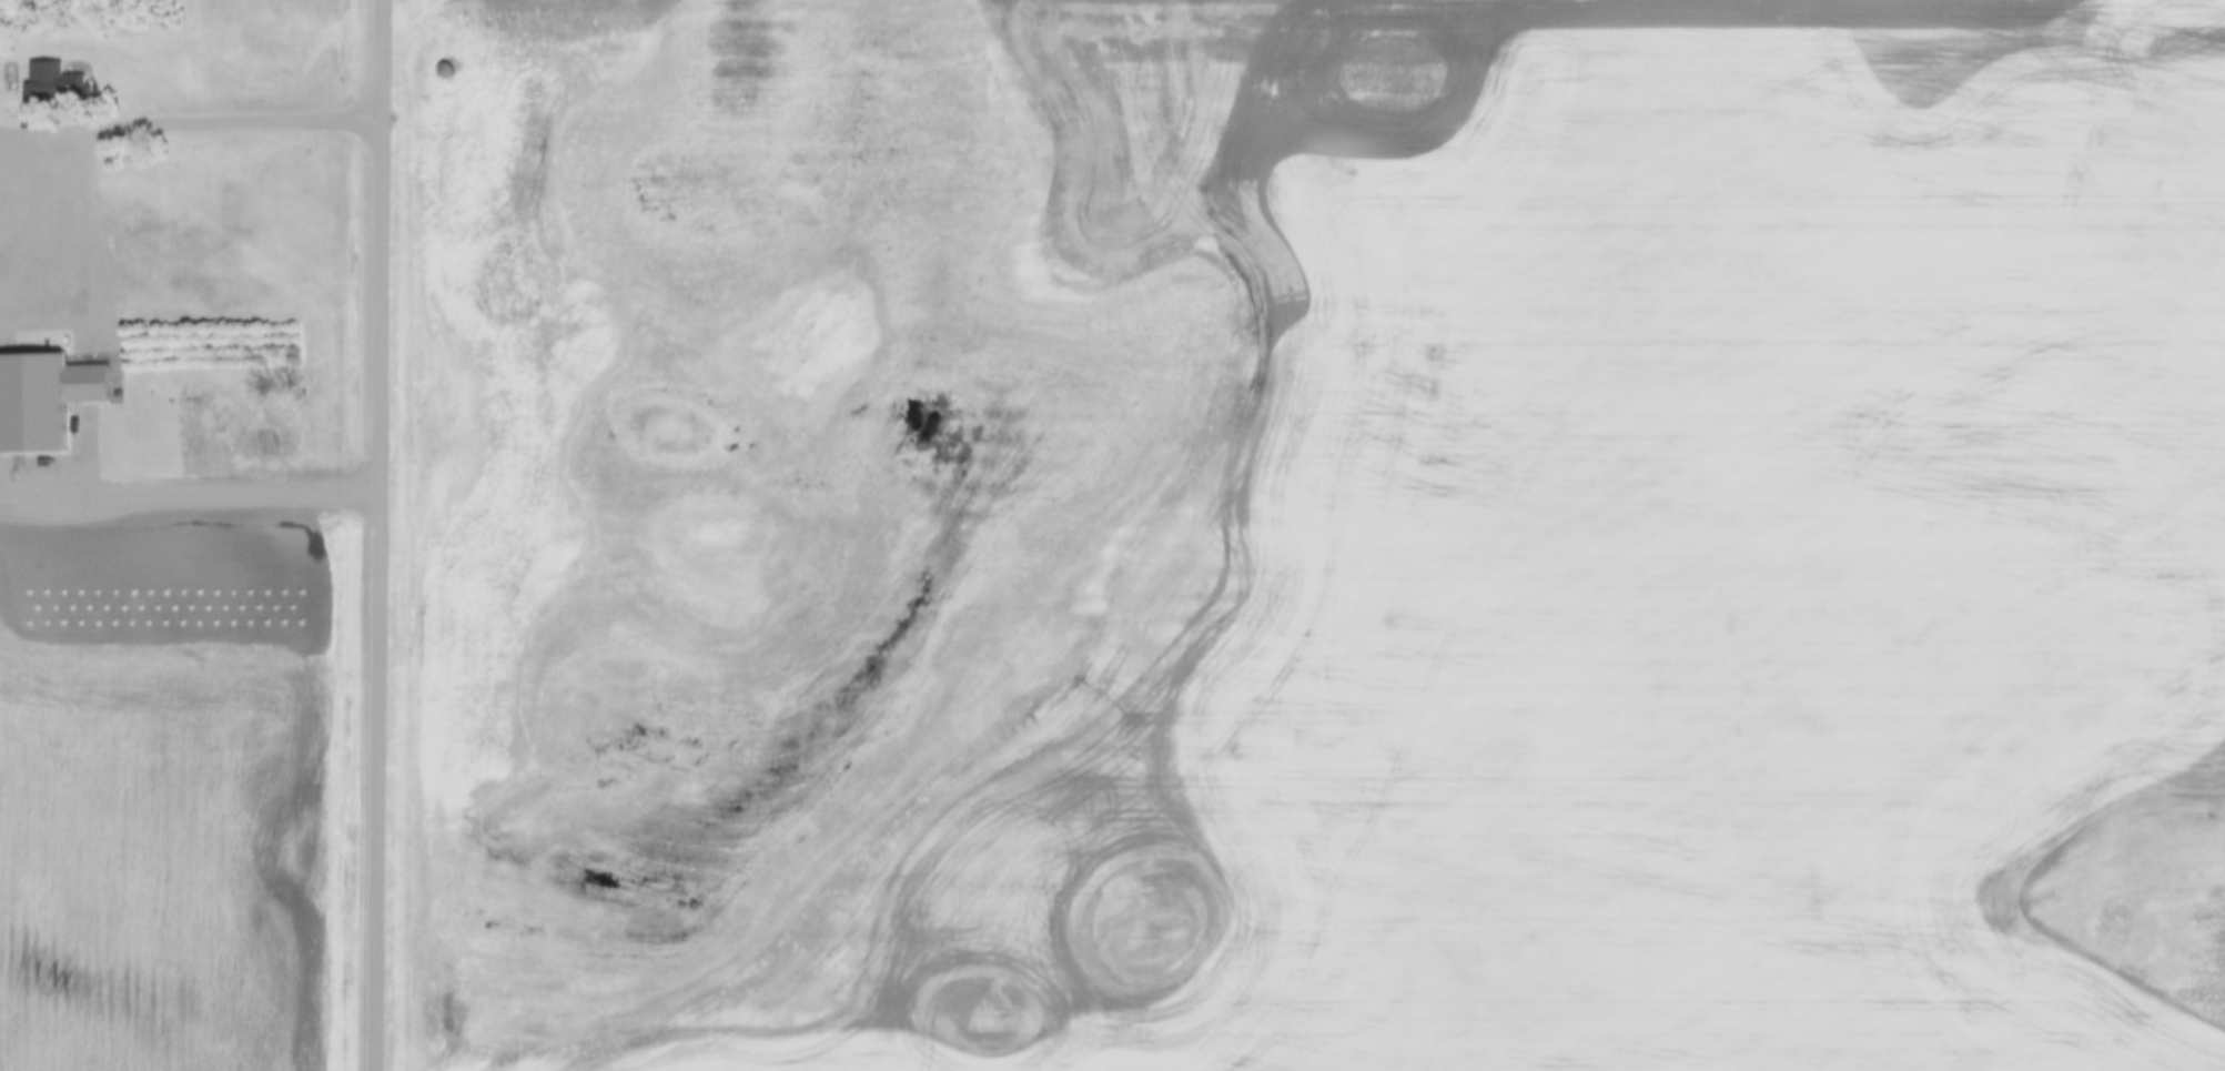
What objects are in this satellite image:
building: (52, 88)
road: (191, 130)
road: (33, 233)
road: (192, 491)
road: (385, 535)

